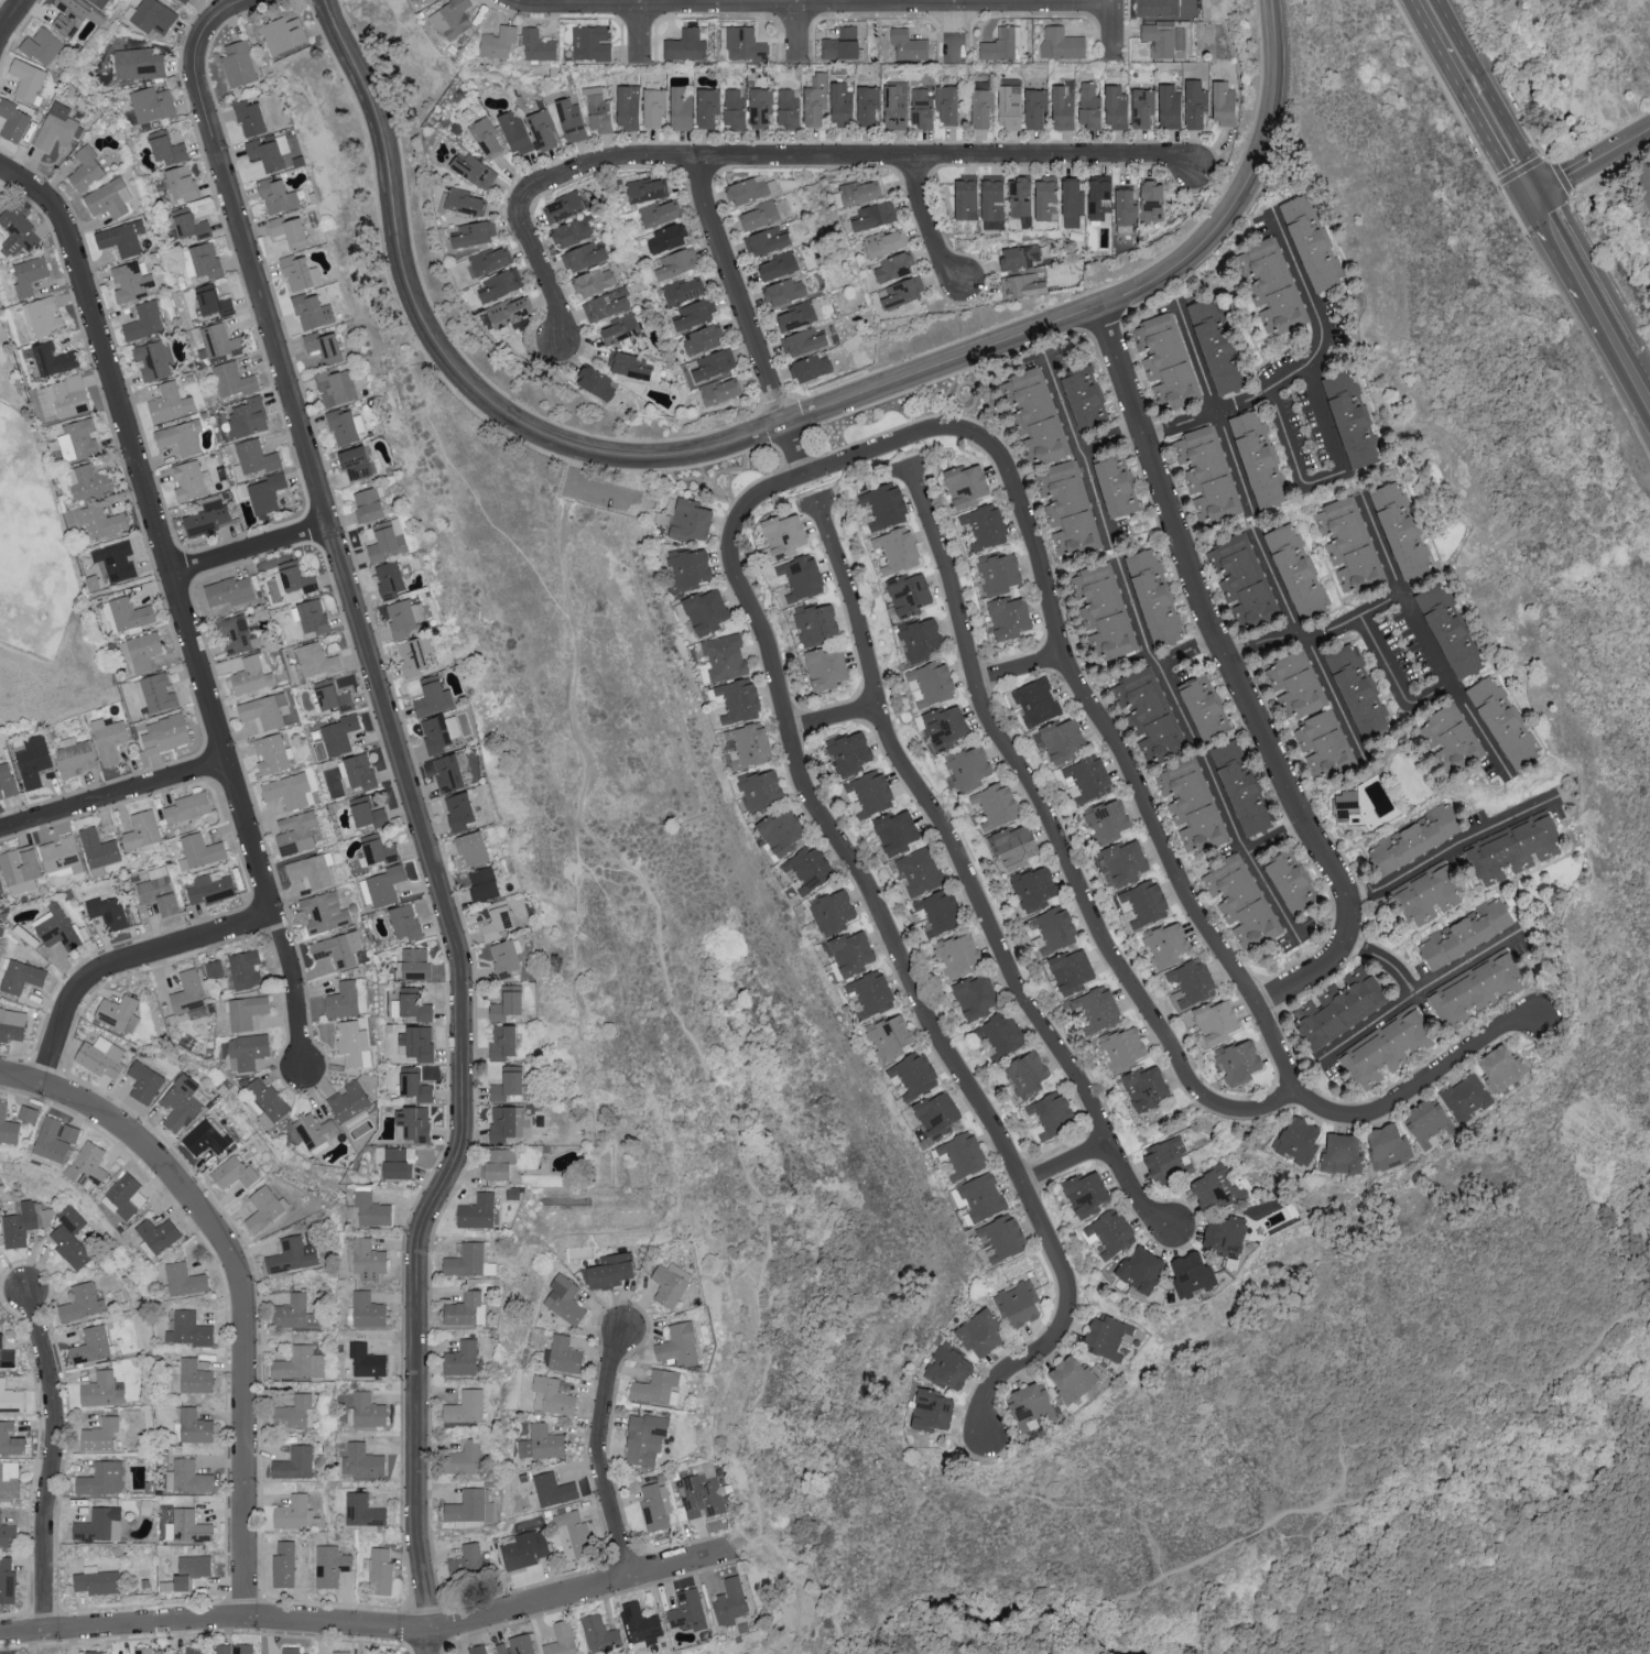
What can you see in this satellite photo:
building: (184, 0)
building: (424, 0)
building: (93, 1)
road: (812, 4)
building: (1157, 8)
building: (69, 15)
building: (153, 15)
building: (452, 18)
road: (11, 19)
road: (801, 29)
road: (957, 30)
road: (1117, 30)
road: (644, 31)
building: (282, 33)
building: (1164, 37)
building: (498, 41)
building: (590, 42)
building: (742, 42)
building: (1061, 42)
building: (840, 43)
building: (908, 43)
building: (1002, 43)
building: (538, 44)
building: (685, 44)
building: (41, 45)
building: (138, 63)
building: (238, 63)
road: (1276, 66)
building: (26, 78)
road: (1478, 96)
building: (815, 98)
building: (1223, 100)
building: (151, 102)
building: (840, 102)
building: (1009, 102)
building: (654, 104)
building: (868, 104)
building: (947, 104)
building: (1089, 104)
building: (1195, 104)
building: (895, 105)
building: (1063, 105)
building: (628, 106)
building: (682, 106)
building: (1116, 106)
building: (1169, 106)
building: (707, 107)
building: (760, 107)
building: (788, 107)
building: (921, 107)
building: (1142, 107)
building: (734, 108)
building: (981, 108)
building: (1035, 108)
building: (598, 111)
building: (249, 117)
building: (569, 119)
building: (12, 120)
building: (55, 128)
building: (543, 129)
building: (513, 130)
building: (486, 135)
road: (1597, 139)
building: (166, 148)
building: (268, 150)
road: (859, 157)
road: (1593, 160)
road: (1638, 160)
building: (85, 167)
road: (1609, 168)
building: (474, 170)
road: (1520, 171)
road: (1562, 177)
building: (181, 182)
building: (645, 188)
building: (746, 189)
building: (860, 192)
traffic signals: (1537, 192)
building: (275, 195)
building: (1019, 195)
building: (1099, 195)
building: (965, 196)
building: (1072, 196)
building: (108, 197)
building: (991, 197)
building: (1045, 197)
building: (1152, 199)
building: (465, 200)
building: (563, 206)
building: (1125, 206)
building: (660, 211)
building: (759, 215)
building: (875, 215)
road: (930, 220)
road: (1550, 220)
building: (191, 225)
building: (17, 230)
building: (289, 230)
building: (573, 230)
building: (474, 232)
building: (121, 237)
building: (665, 238)
building: (766, 240)
building: (886, 241)
road: (1208, 241)
building: (1312, 241)
building: (584, 255)
building: (1019, 255)
building: (200, 259)
building: (489, 259)
building: (675, 262)
building: (778, 264)
building: (893, 266)
road: (541, 268)
building: (298, 272)
building: (29, 274)
building: (132, 279)
building: (594, 280)
building: (500, 283)
building: (1022, 284)
building: (1274, 286)
road: (1586, 289)
building: (684, 290)
building: (784, 290)
building: (902, 291)
building: (211, 301)
building: (607, 304)
building: (312, 311)
building: (509, 311)
building: (695, 314)
building: (795, 315)
building: (43, 316)
road: (747, 318)
building: (144, 319)
building: (619, 329)
building: (704, 338)
building: (218, 339)
building: (803, 341)
building: (1215, 345)
building: (324, 346)
building: (50, 358)
building: (154, 358)
building: (1166, 360)
building: (714, 363)
building: (630, 364)
road: (1301, 366)
building: (811, 367)
road: (1629, 367)
building: (232, 379)
building: (597, 382)
building: (336, 387)
building: (720, 390)
building: (63, 396)
building: (1085, 396)
building: (170, 402)
road: (1213, 409)
building: (1035, 415)
building: (247, 416)
building: (1352, 418)
building: (346, 425)
building: (180, 436)
road: (1108, 437)
building: (76, 439)
road: (580, 446)
road: (892, 448)
road: (1078, 449)
building: (254, 456)
building: (1259, 458)
road: (1394, 460)
building: (356, 461)
building: (1209, 475)
road: (1333, 478)
road: (1374, 478)
building: (189, 480)
building: (90, 482)
building: (1116, 485)
building: (966, 486)
road: (1350, 488)
road: (476, 489)
road: (578, 490)
building: (265, 492)
parking lot: (600, 494)
building: (368, 503)
building: (884, 504)
building: (1070, 508)
building: (207, 518)
building: (690, 519)
building: (102, 521)
building: (985, 525)
building: (1401, 530)
building: (783, 535)
building: (386, 540)
park: (33, 544)
building: (1349, 544)
building: (897, 548)
road: (1315, 549)
road: (252, 551)
building: (115, 559)
building: (690, 567)
building: (1296, 569)
building: (999, 574)
building: (801, 576)
building: (295, 577)
building: (389, 578)
park: (40, 580)
road: (1420, 583)
building: (227, 590)
building: (909, 594)
building: (1154, 596)
road: (181, 602)
building: (1104, 610)
building: (706, 611)
building: (130, 613)
building: (312, 616)
building: (404, 617)
building: (1009, 617)
building: (815, 623)
building: (1450, 632)
building: (235, 633)
road: (1313, 633)
building: (920, 639)
road: (1424, 641)
road: (1306, 646)
building: (140, 651)
road: (1186, 652)
building: (414, 654)
building: (725, 656)
road: (1151, 656)
building: (315, 659)
building: (826, 667)
road: (1020, 671)
building: (250, 675)
road: (1393, 678)
road: (1237, 681)
building: (933, 683)
building: (1296, 683)
building: (1359, 692)
building: (155, 693)
building: (332, 696)
building: (433, 697)
building: (738, 699)
building: (1036, 701)
building: (1204, 707)
building: (264, 710)
building: (1149, 715)
road: (836, 718)
building: (1505, 722)
building: (943, 726)
building: (439, 731)
building: (165, 733)
building: (339, 733)
building: (109, 738)
building: (1451, 738)
building: (1063, 739)
building: (749, 743)
building: (1324, 744)
building: (849, 752)
building: (271, 753)
building: (74, 755)
building: (32, 760)
building: (969, 768)
building: (359, 771)
building: (447, 772)
building: (7, 781)
park: (614, 788)
building: (761, 788)
building: (1241, 788)
building: (290, 791)
building: (869, 793)
road: (115, 798)
road: (414, 803)
building: (996, 805)
building: (1192, 805)
building: (1345, 805)
building: (187, 806)
building: (365, 810)
building: (458, 810)
building: (1108, 820)
building: (141, 829)
road: (946, 830)
building: (781, 831)
building: (897, 831)
building: (295, 833)
road: (1055, 836)
road: (1274, 837)
building: (1416, 838)
building: (1013, 847)
building: (377, 848)
building: (471, 848)
building: (1513, 848)
building: (98, 850)
road: (1451, 850)
building: (199, 851)
road: (1246, 852)
building: (61, 856)
building: (1126, 861)
building: (810, 868)
building: (20, 869)
building: (919, 871)
road: (866, 881)
building: (1290, 882)
building: (482, 883)
building: (382, 885)
building: (210, 888)
building: (1, 889)
building: (1034, 889)
building: (158, 890)
building: (1428, 894)
road: (1186, 895)
building: (1144, 902)
building: (1241, 902)
building: (108, 911)
building: (833, 911)
building: (324, 912)
building: (936, 913)
building: (496, 920)
building: (404, 921)
building: (56, 927)
building: (1056, 927)
building: (1465, 933)
building: (1166, 944)
building: (338, 948)
road: (573, 950)
building: (853, 953)
building: (957, 955)
building: (504, 958)
road: (1385, 960)
road: (126, 962)
building: (414, 964)
building: (214, 969)
building: (245, 969)
building: (1072, 971)
building: (20, 976)
building: (1193, 982)
building: (1474, 989)
building: (187, 992)
road: (1415, 992)
building: (871, 993)
building: (975, 997)
building: (345, 1000)
building: (507, 1003)
building: (411, 1004)
building: (1339, 1006)
building: (1098, 1008)
building: (116, 1011)
building: (245, 1011)
road: (670, 1011)
building: (1217, 1021)
building: (131, 1023)
building: (12, 1024)
building: (890, 1036)
building: (1000, 1036)
building: (502, 1042)
building: (352, 1043)
building: (415, 1043)
building: (1122, 1047)
building: (1386, 1047)
building: (248, 1049)
building: (100, 1056)
building: (1239, 1062)
building: (1501, 1067)
building: (1027, 1074)
building: (914, 1075)
road: (21, 1080)
building: (143, 1081)
building: (413, 1084)
building: (507, 1084)
building: (1146, 1088)
building: (1467, 1096)
building: (267, 1100)
building: (348, 1100)
building: (182, 1102)
building: (28, 1113)
building: (938, 1114)
building: (1051, 1116)
building: (412, 1122)
building: (1428, 1122)
building: (8, 1127)
building: (315, 1130)
building: (207, 1138)
building: (1299, 1140)
building: (53, 1141)
building: (1388, 1146)
building: (1342, 1154)
building: (963, 1155)
building: (1168, 1160)
building: (395, 1162)
building: (498, 1163)
building: (86, 1165)
road: (1066, 1165)
building: (232, 1172)
building: (1215, 1188)
road: (1137, 1191)
building: (1085, 1194)
building: (122, 1196)
building: (983, 1196)
building: (263, 1208)
building: (368, 1210)
building: (476, 1211)
building: (23, 1222)
building: (1110, 1233)
building: (1226, 1234)
building: (156, 1236)
building: (1002, 1237)
building: (69, 1238)
building: (292, 1254)
building: (367, 1258)
building: (466, 1260)
building: (1140, 1270)
building: (609, 1271)
building: (1192, 1273)
building: (185, 1278)
building: (670, 1283)
building: (564, 1298)
building: (82, 1303)
building: (1018, 1303)
road: (245, 1307)
building: (463, 1308)
building: (291, 1310)
building: (367, 1310)
building: (188, 1329)
building: (980, 1334)
building: (1107, 1337)
building: (679, 1345)
building: (90, 1346)
building: (6, 1354)
building: (564, 1354)
building: (462, 1359)
building: (362, 1361)
building: (298, 1363)
road: (1020, 1365)
building: (949, 1367)
building: (191, 1376)
building: (1072, 1379)
building: (658, 1388)
building: (101, 1390)
building: (552, 1395)
building: (10, 1399)
building: (466, 1406)
building: (1032, 1407)
building: (367, 1411)
building: (932, 1411)
building: (293, 1412)
building: (194, 1426)
building: (100, 1435)
building: (644, 1438)
building: (10, 1440)
building: (541, 1443)
road: (603, 1456)
building: (465, 1458)
road: (51, 1460)
building: (361, 1461)
building: (294, 1463)
building: (187, 1477)
building: (102, 1479)
building: (553, 1489)
road: (1370, 1492)
building: (703, 1494)
building: (470, 1506)
building: (655, 1506)
building: (362, 1511)
building: (0, 1514)
building: (295, 1514)
building: (96, 1524)
building: (188, 1526)
road: (734, 1530)
building: (571, 1533)
building: (8, 1535)
building: (525, 1549)
building: (466, 1561)
building: (283, 1564)
building: (330, 1566)
building: (189, 1569)
building: (380, 1570)
building: (96, 1579)
building: (7, 1580)
road: (806, 1589)
building: (730, 1600)
building: (687, 1608)
building: (639, 1622)
road: (369, 1631)
building: (599, 1632)
building: (562, 1639)
building: (515, 1644)
building: (195, 1648)
building: (234, 1648)
building: (478, 1648)
building: (142, 1650)
building: (291, 1650)
building: (93, 1651)
building: (340, 1652)
building: (380, 1653)

